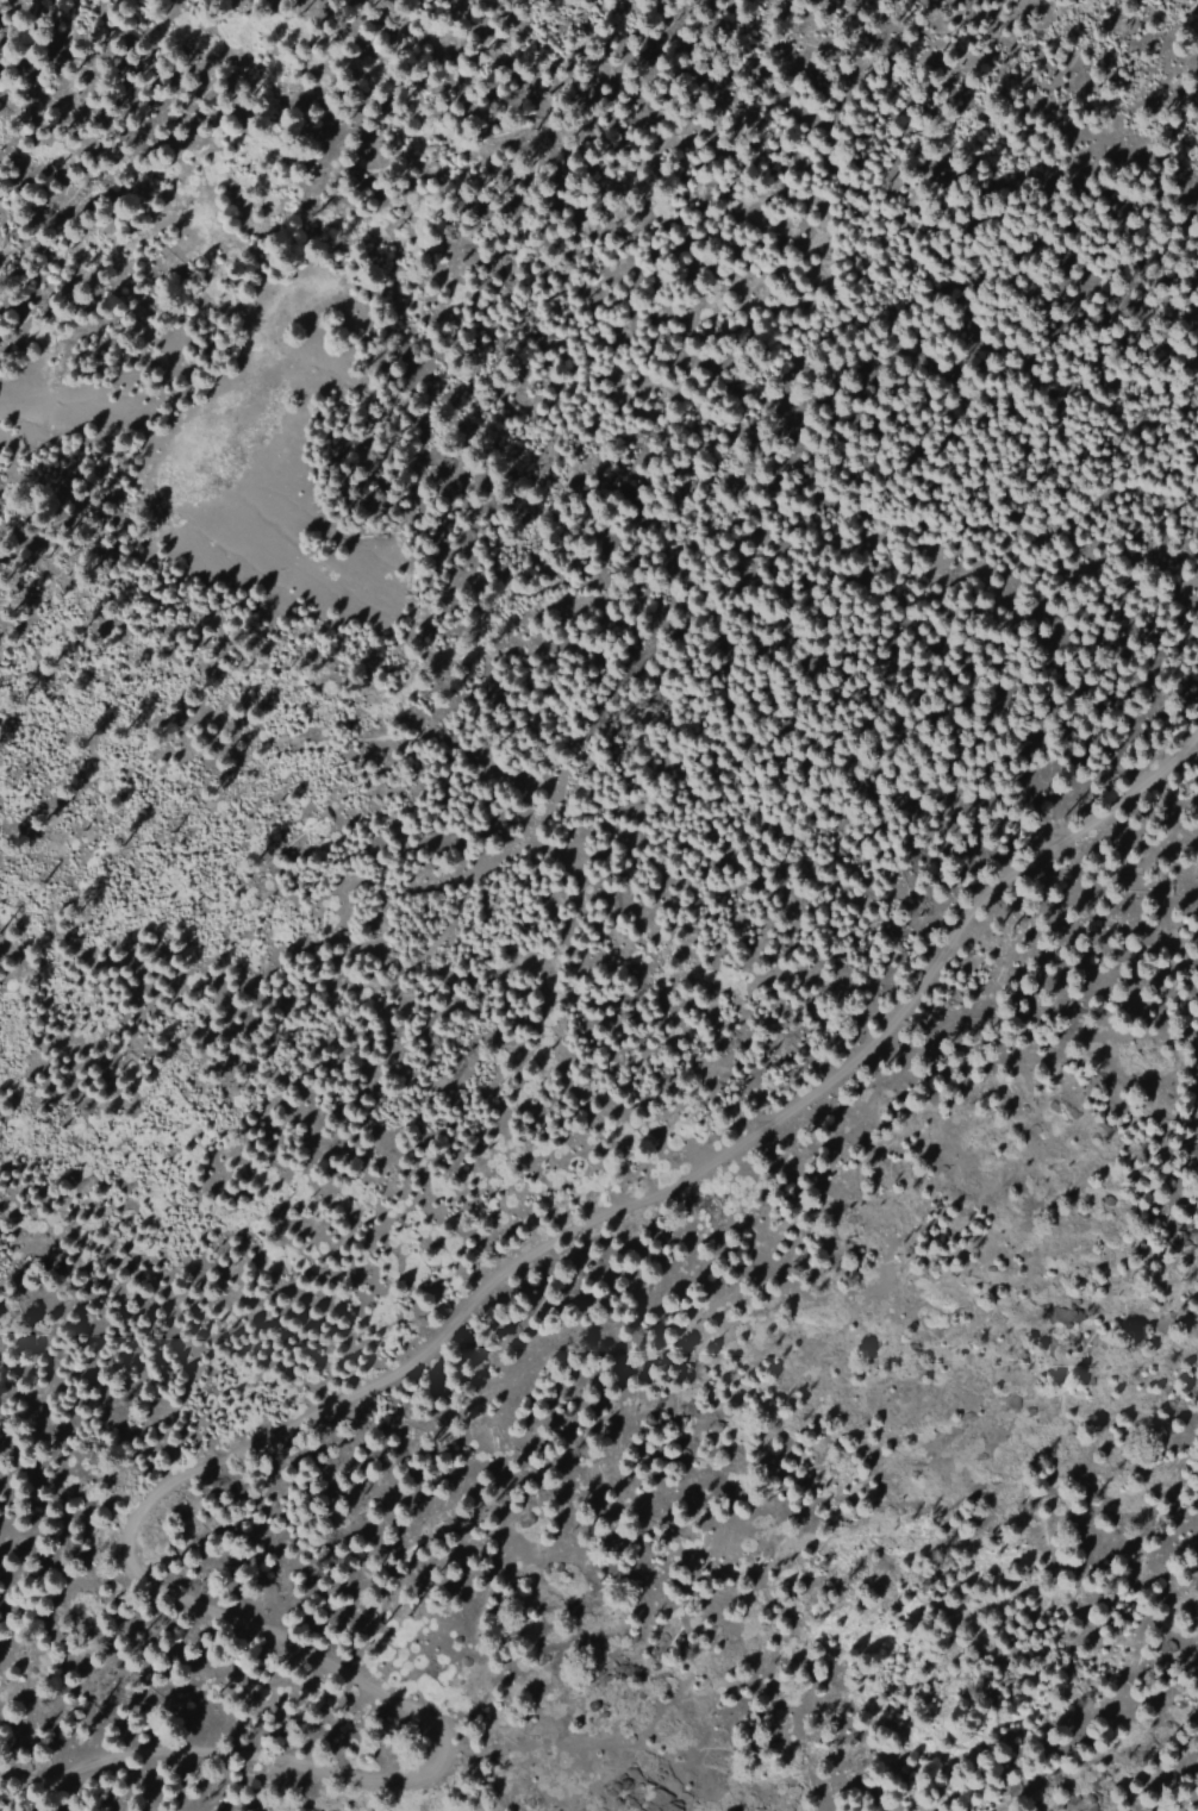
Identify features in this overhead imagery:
road: (338, 1447)

